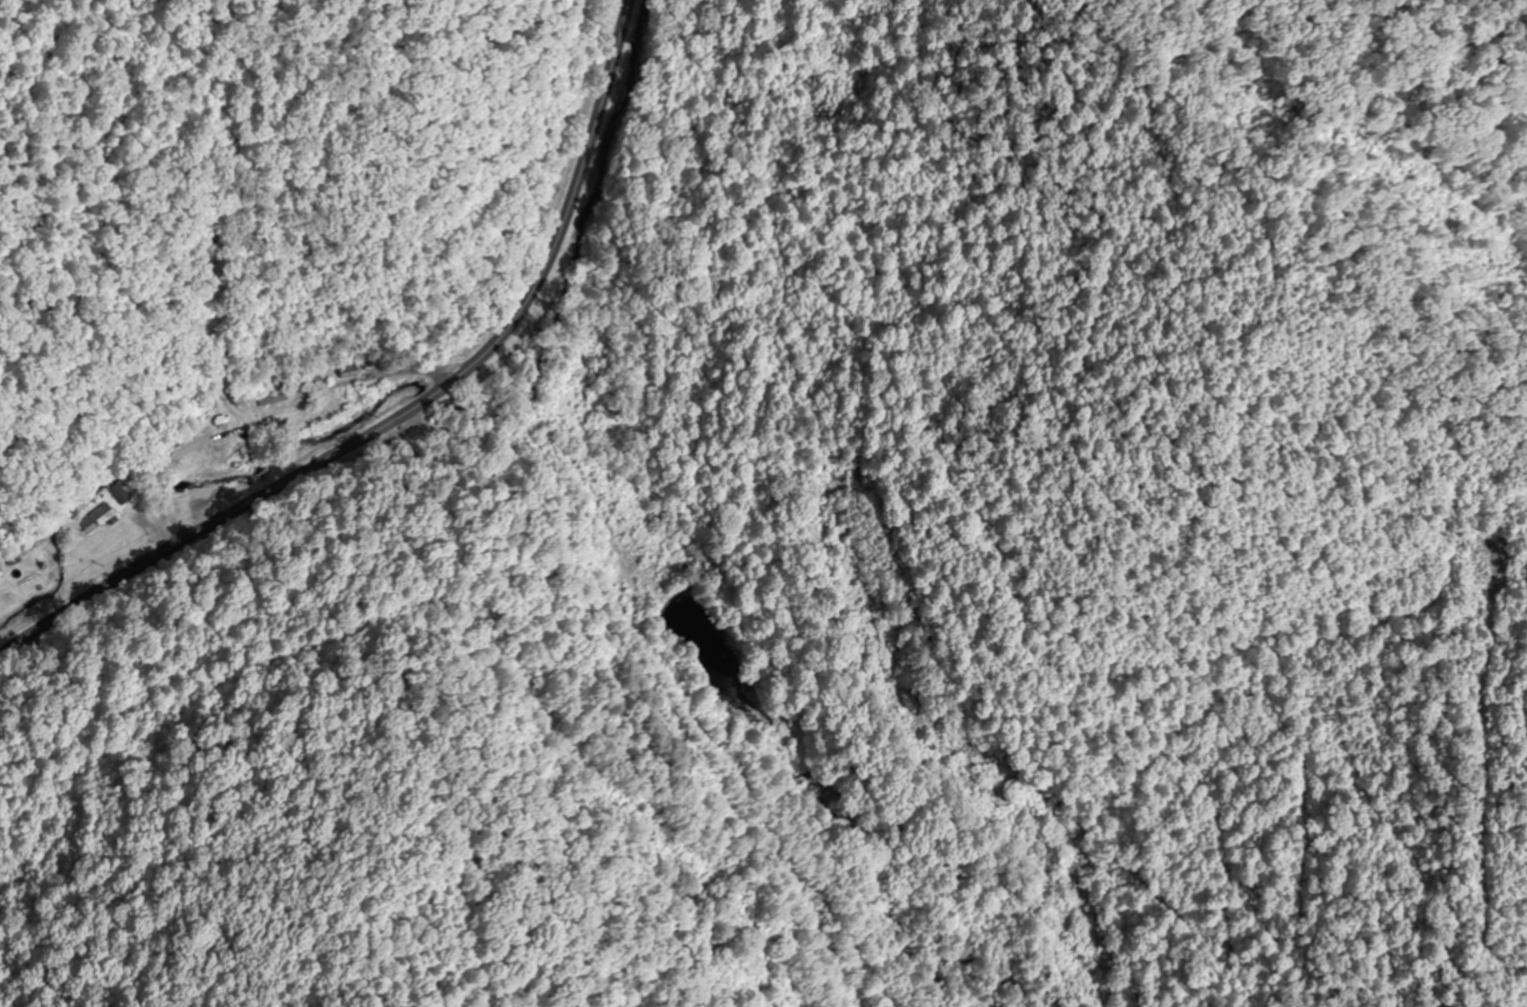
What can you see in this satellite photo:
building: (352, 371)
road: (411, 410)
building: (230, 426)
building: (122, 495)
building: (100, 519)

